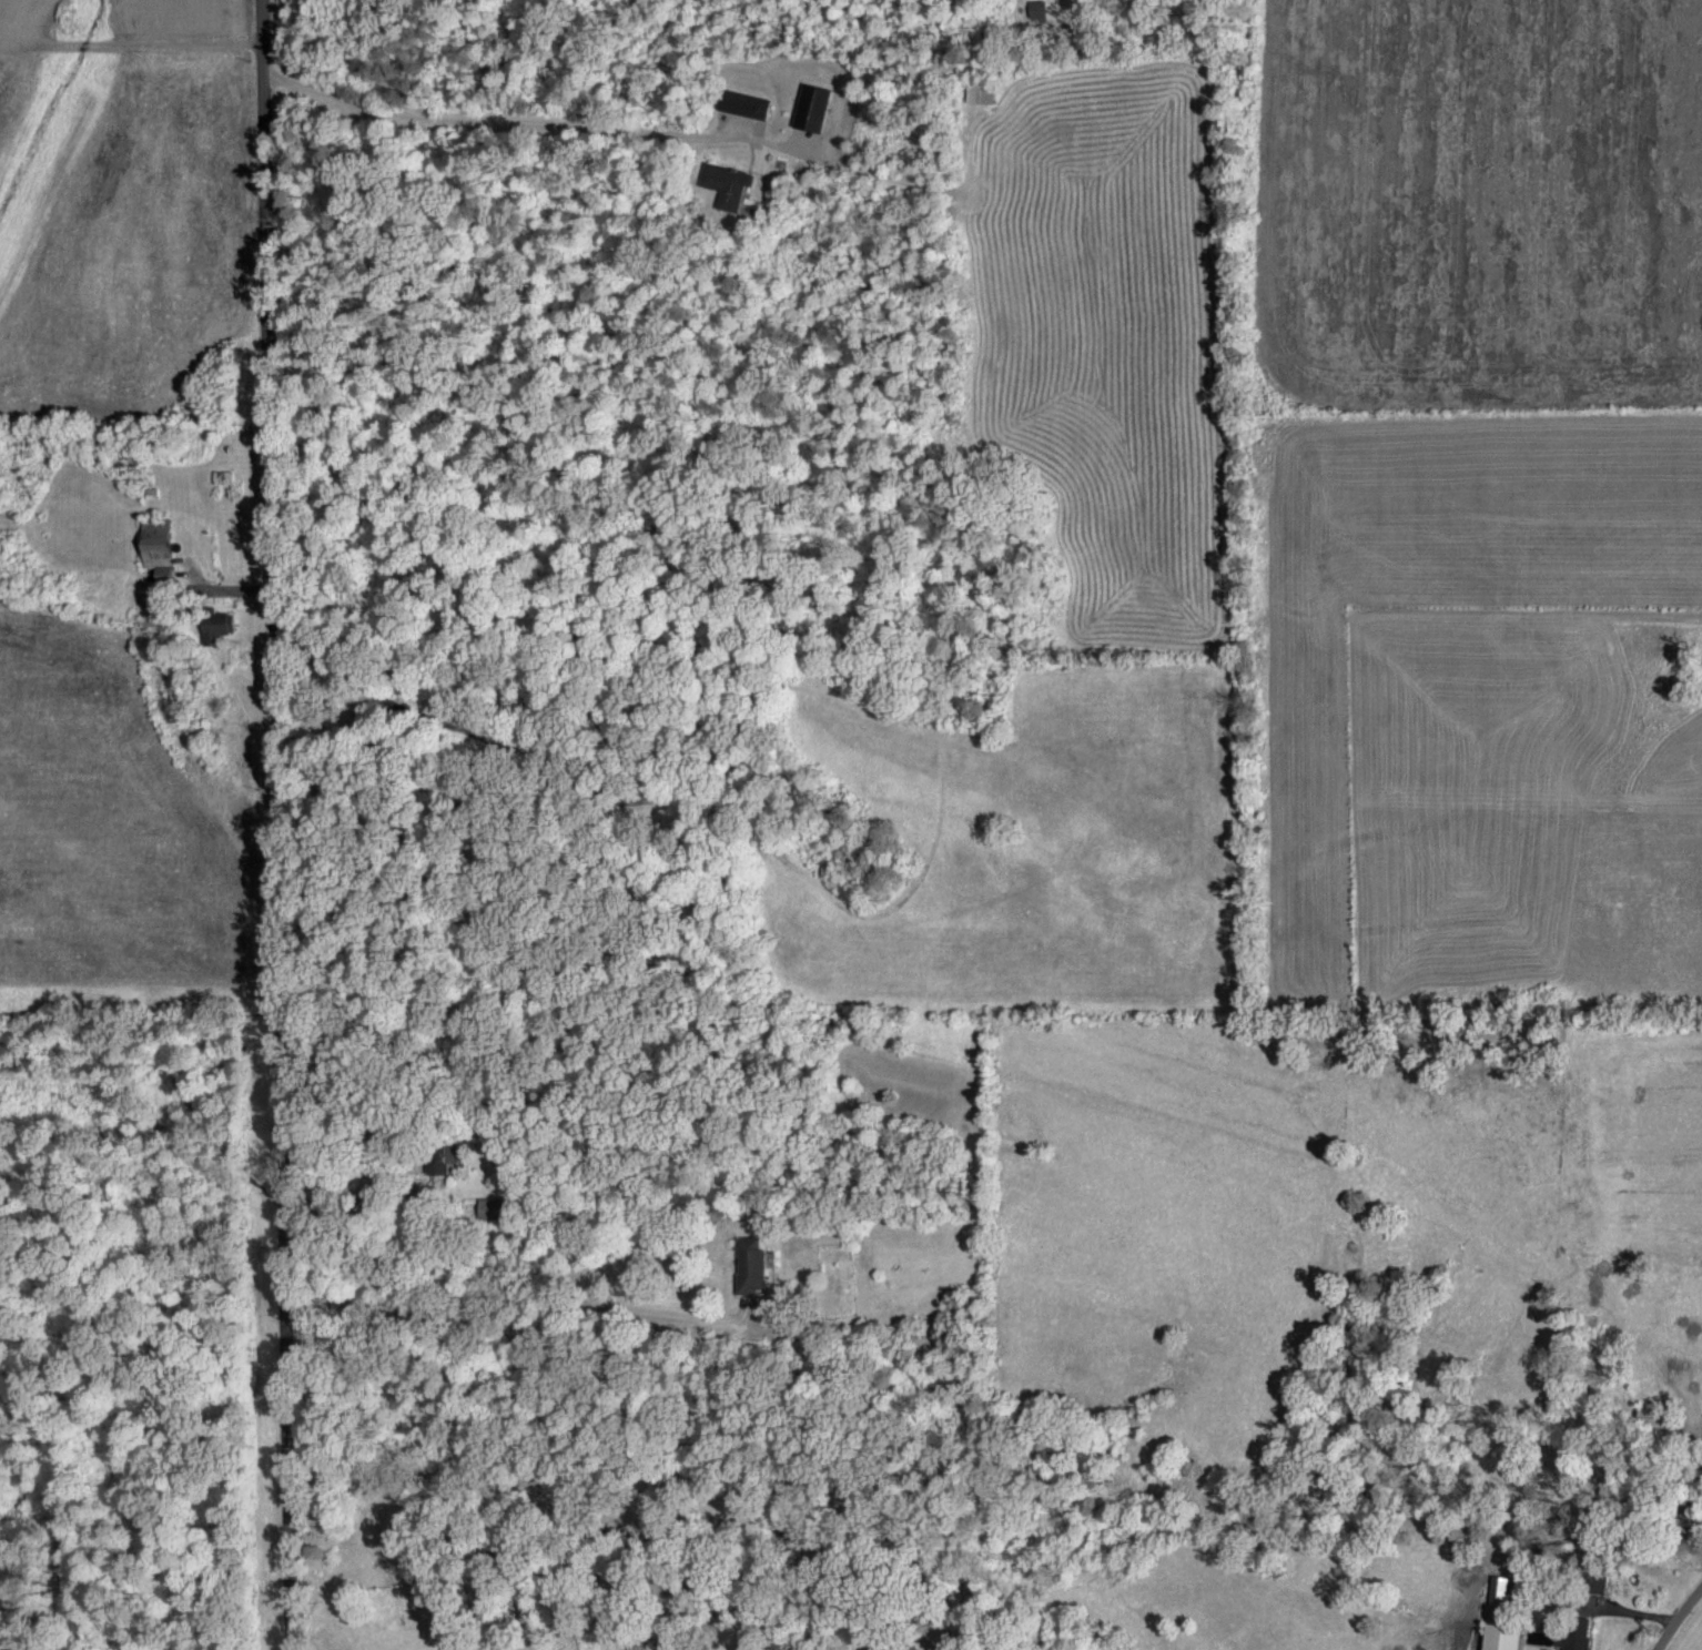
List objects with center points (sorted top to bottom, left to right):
building: (1035, 7)
building: (979, 90)
building: (741, 100)
building: (809, 103)
road: (487, 112)
building: (725, 181)
building: (154, 544)
building: (213, 624)
road: (275, 824)
building: (439, 1155)
building: (490, 1205)
building: (748, 1262)
building: (1490, 1613)
road: (1676, 1617)
building: (1571, 1631)

